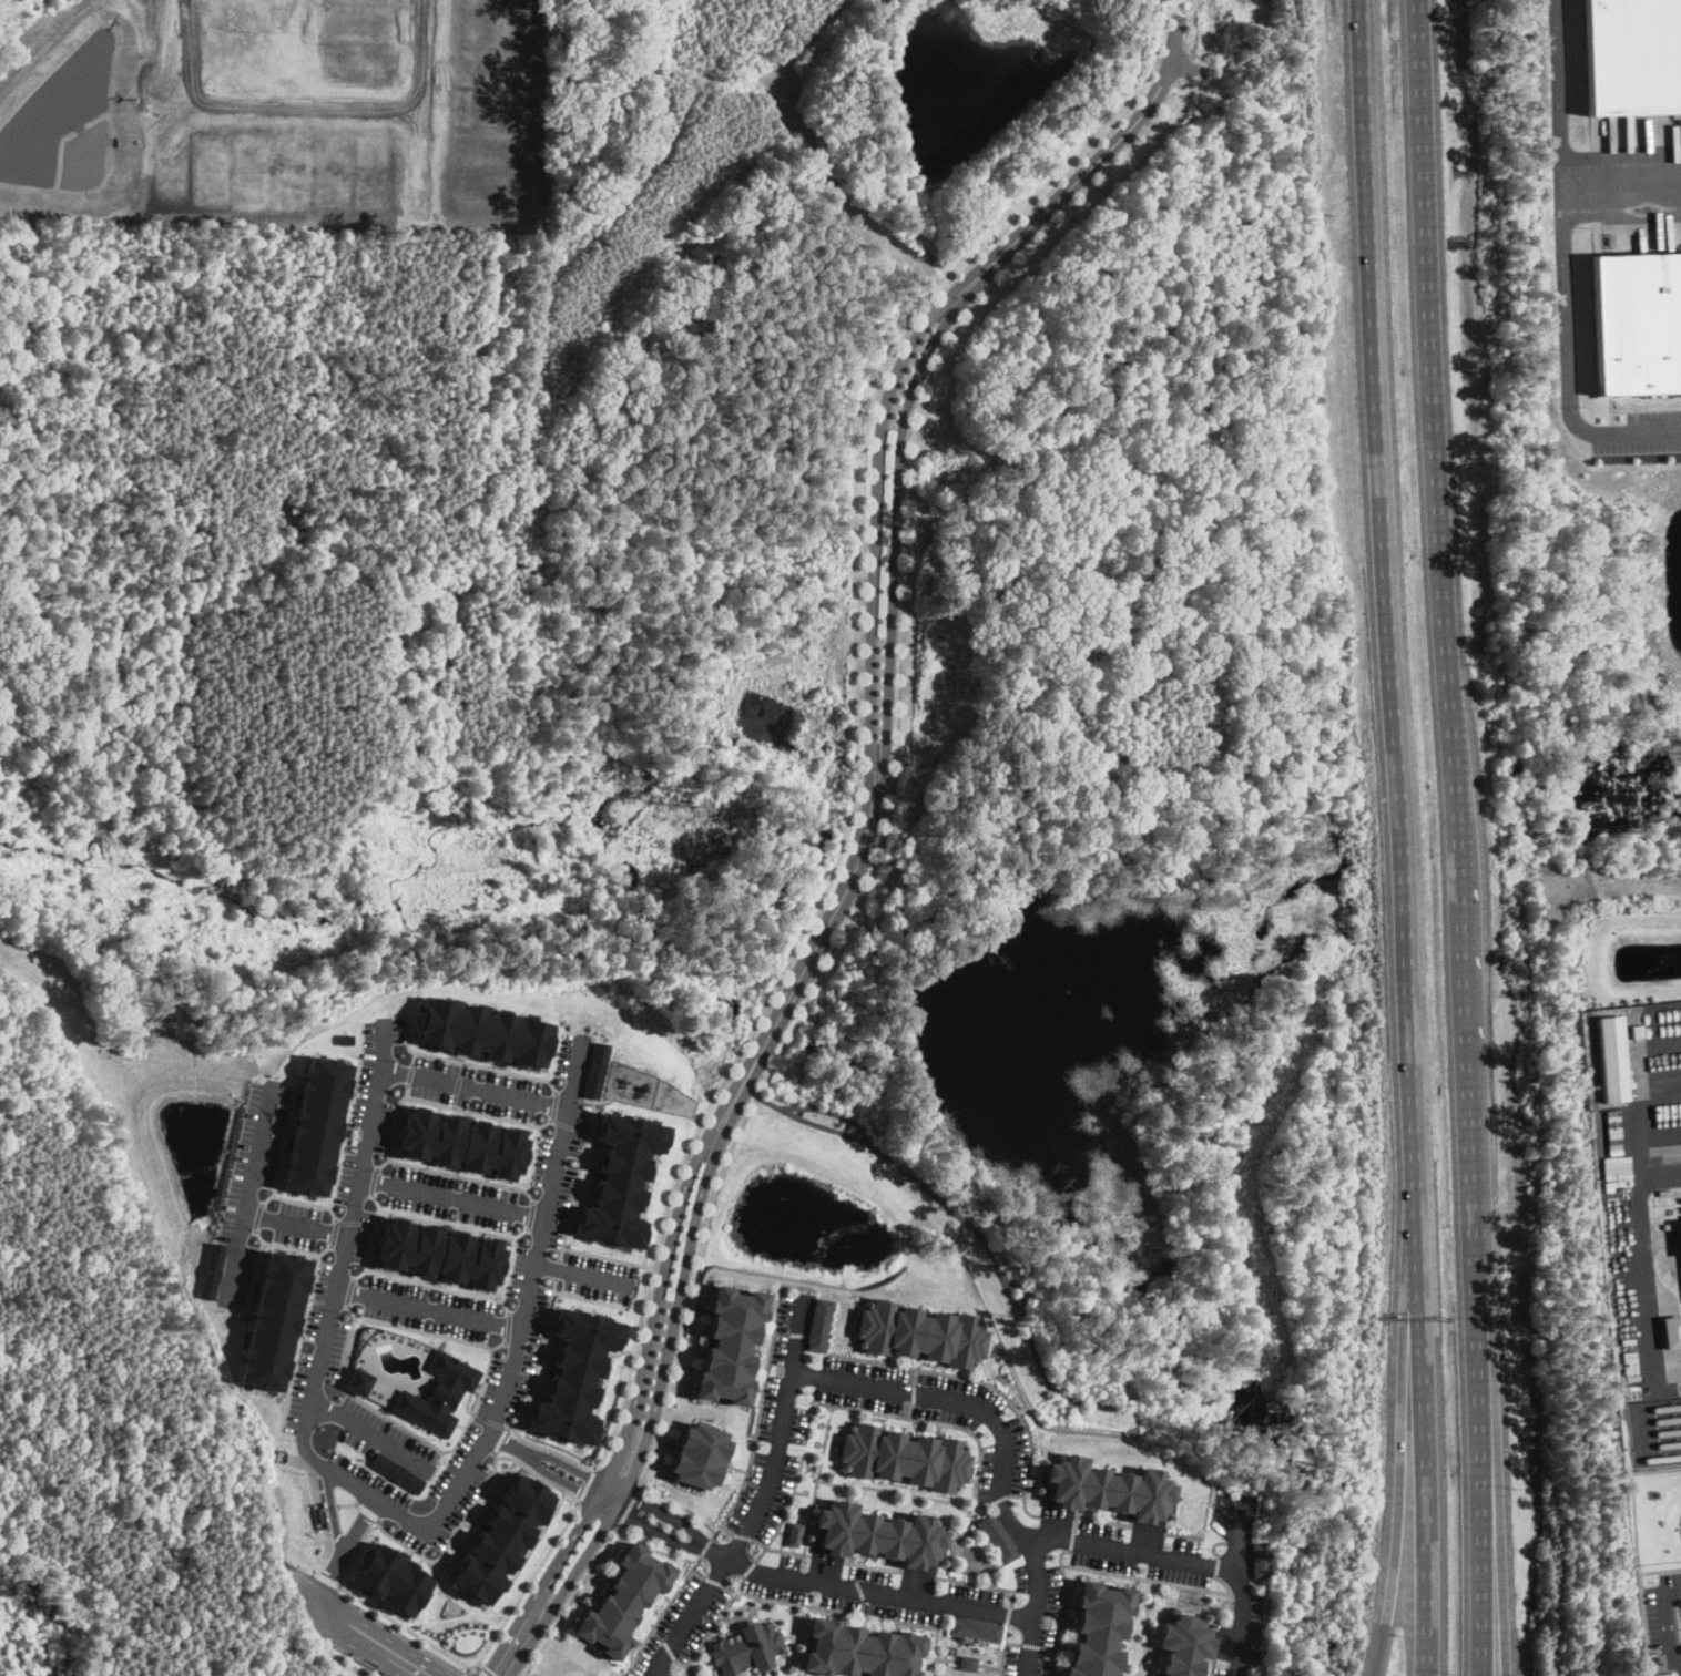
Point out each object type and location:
building: (1632, 55)
road: (1097, 160)
road: (1621, 181)
road: (1563, 267)
building: (1637, 323)
road: (1644, 407)
road: (875, 521)
road: (896, 531)
road: (856, 759)
road: (895, 764)
road: (1395, 837)
road: (1460, 837)
road: (815, 947)
building: (482, 1032)
building: (344, 1038)
road: (384, 1043)
road: (414, 1056)
building: (1611, 1057)
road: (470, 1063)
building: (593, 1070)
road: (379, 1071)
road: (573, 1071)
road: (410, 1073)
road: (458, 1084)
road: (407, 1090)
road: (553, 1104)
road: (447, 1105)
road: (827, 1111)
road: (348, 1114)
building: (314, 1125)
road: (568, 1125)
road: (282, 1140)
building: (461, 1143)
road: (383, 1162)
road: (462, 1176)
road: (374, 1179)
road: (574, 1179)
building: (619, 1179)
road: (248, 1192)
road: (450, 1197)
road: (298, 1199)
road: (376, 1199)
road: (330, 1213)
road: (530, 1213)
road: (256, 1216)
road: (354, 1220)
road: (295, 1224)
building: (1680, 1227)
road: (332, 1232)
road: (520, 1232)
road: (513, 1237)
road: (323, 1249)
building: (437, 1254)
road: (605, 1257)
road: (554, 1268)
building: (211, 1270)
road: (358, 1273)
road: (583, 1273)
road: (253, 1277)
road: (1636, 1288)
road: (349, 1290)
road: (1021, 1297)
road: (589, 1298)
road: (1017, 1304)
road: (503, 1305)
road: (427, 1307)
road: (350, 1310)
building: (272, 1321)
road: (303, 1322)
building: (818, 1324)
road: (507, 1326)
building: (1671, 1330)
building: (920, 1332)
road: (498, 1343)
building: (731, 1345)
road: (538, 1357)
building: (575, 1374)
road: (914, 1377)
building: (358, 1380)
road: (984, 1383)
road: (638, 1389)
building: (438, 1392)
road: (658, 1392)
road: (911, 1392)
road: (352, 1394)
road: (1019, 1407)
road: (910, 1409)
road: (907, 1416)
road: (489, 1419)
road: (756, 1420)
road: (1063, 1428)
road: (371, 1433)
road: (500, 1439)
road: (824, 1441)
road: (1002, 1447)
building: (700, 1454)
building: (905, 1457)
building: (397, 1472)
road: (538, 1474)
road: (588, 1483)
building: (1102, 1488)
road: (905, 1492)
road: (1015, 1494)
road: (998, 1498)
road: (762, 1499)
road: (347, 1503)
road: (631, 1505)
road: (682, 1505)
road: (333, 1509)
road: (367, 1510)
road: (785, 1510)
road: (664, 1513)
road: (809, 1515)
road: (729, 1530)
road: (656, 1531)
building: (795, 1533)
building: (876, 1533)
road: (1239, 1534)
road: (454, 1535)
road: (744, 1535)
building: (997, 1536)
building: (502, 1539)
road: (706, 1544)
road: (357, 1547)
road: (660, 1549)
road: (778, 1549)
road: (1123, 1550)
road: (343, 1552)
building: (1260, 1559)
road: (302, 1562)
road: (1395, 1564)
road: (751, 1566)
road: (700, 1573)
road: (326, 1577)
building: (395, 1580)
road: (715, 1580)
road: (529, 1584)
road: (731, 1588)
road: (874, 1593)
building: (626, 1600)
road: (572, 1602)
road: (1494, 1607)
road: (838, 1609)
road: (663, 1614)
road: (1242, 1616)
road: (1671, 1623)
road: (409, 1627)
road: (713, 1627)
building: (976, 1627)
building: (1097, 1629)
road: (363, 1637)
road: (666, 1642)
building: (1183, 1646)
building: (750, 1647)
building: (863, 1649)
road: (344, 1660)
building: (968, 1662)
road: (483, 1670)
road: (468, 1673)

